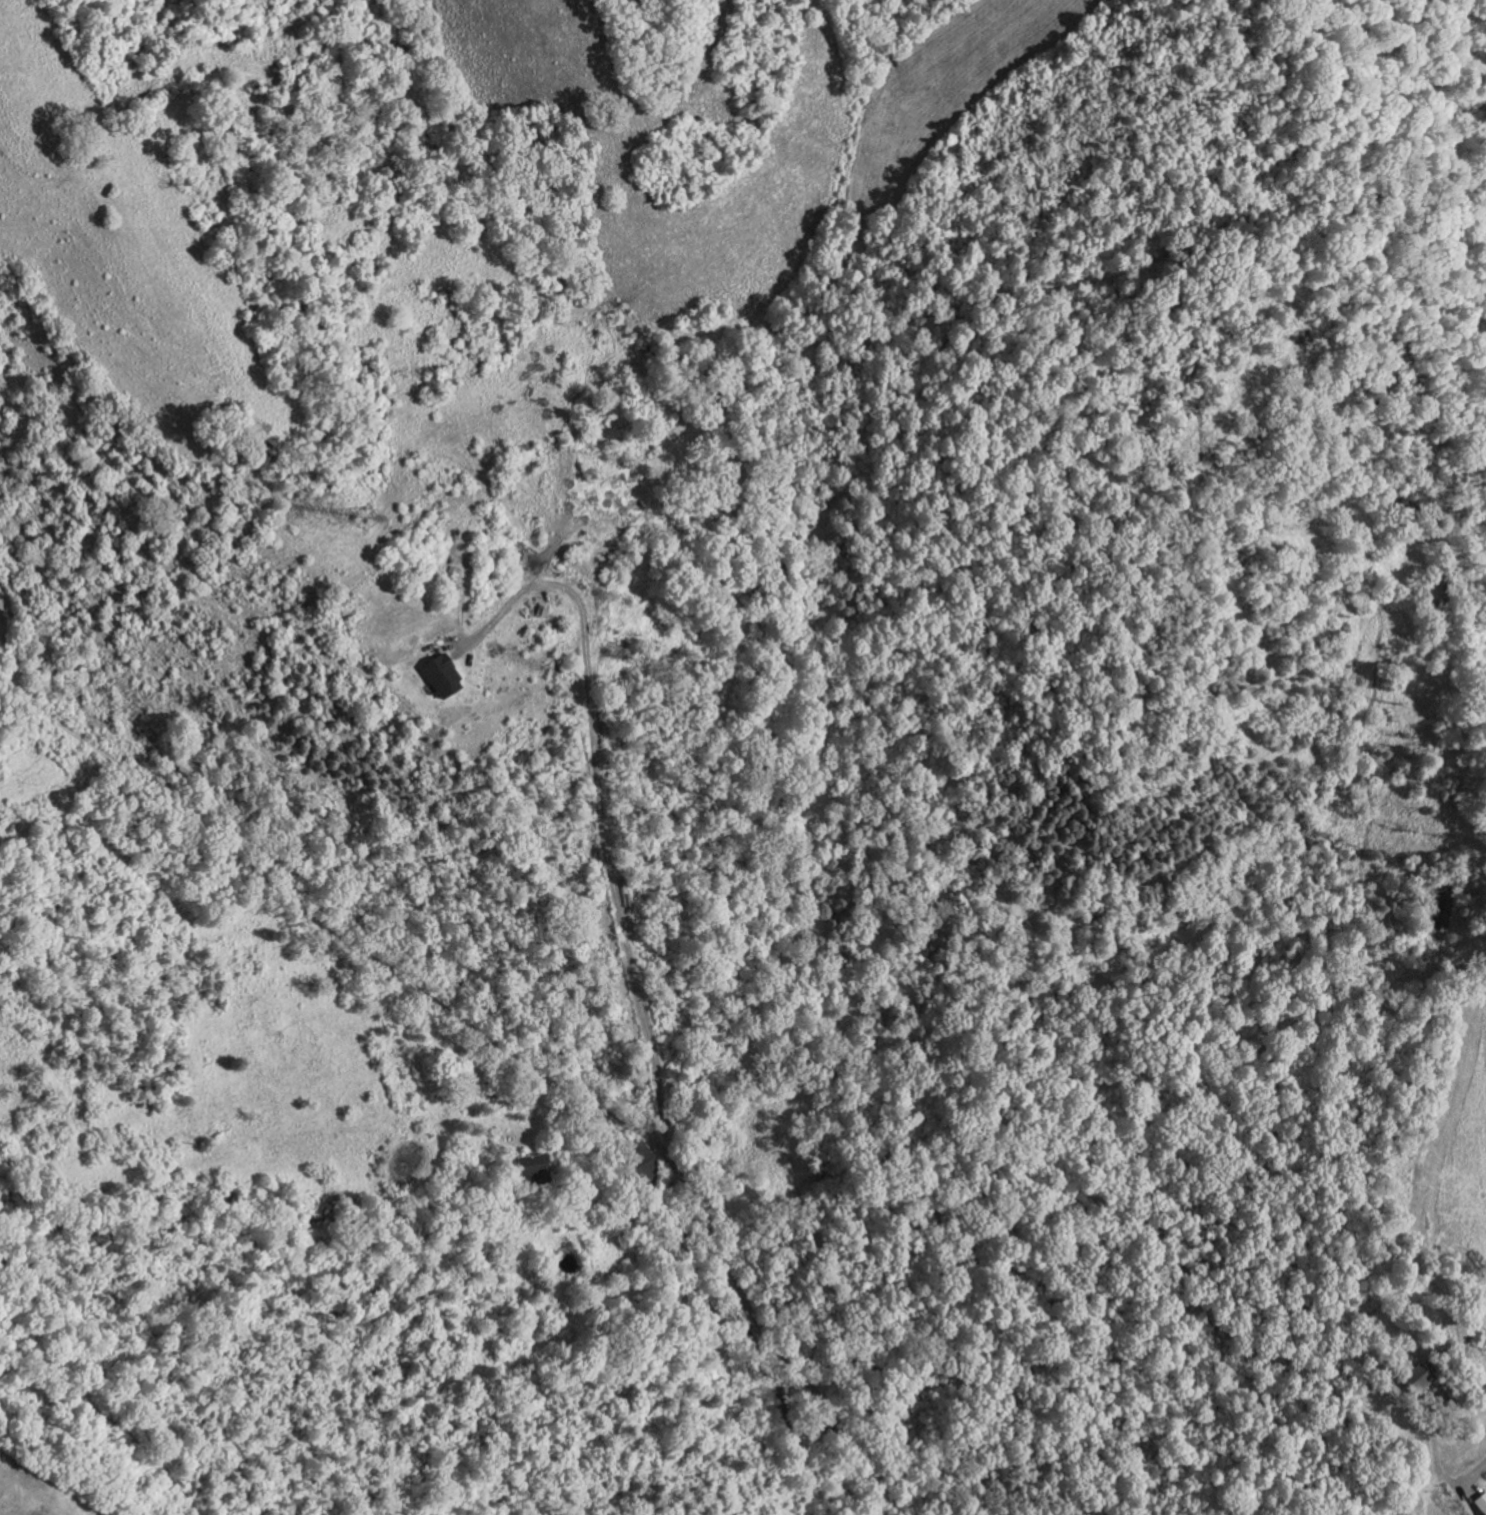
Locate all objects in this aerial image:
power tower: (364, 520)
road: (596, 808)
road: (466, 1028)
road: (1433, 1445)
road: (1473, 1470)
crop: (33, 1487)

